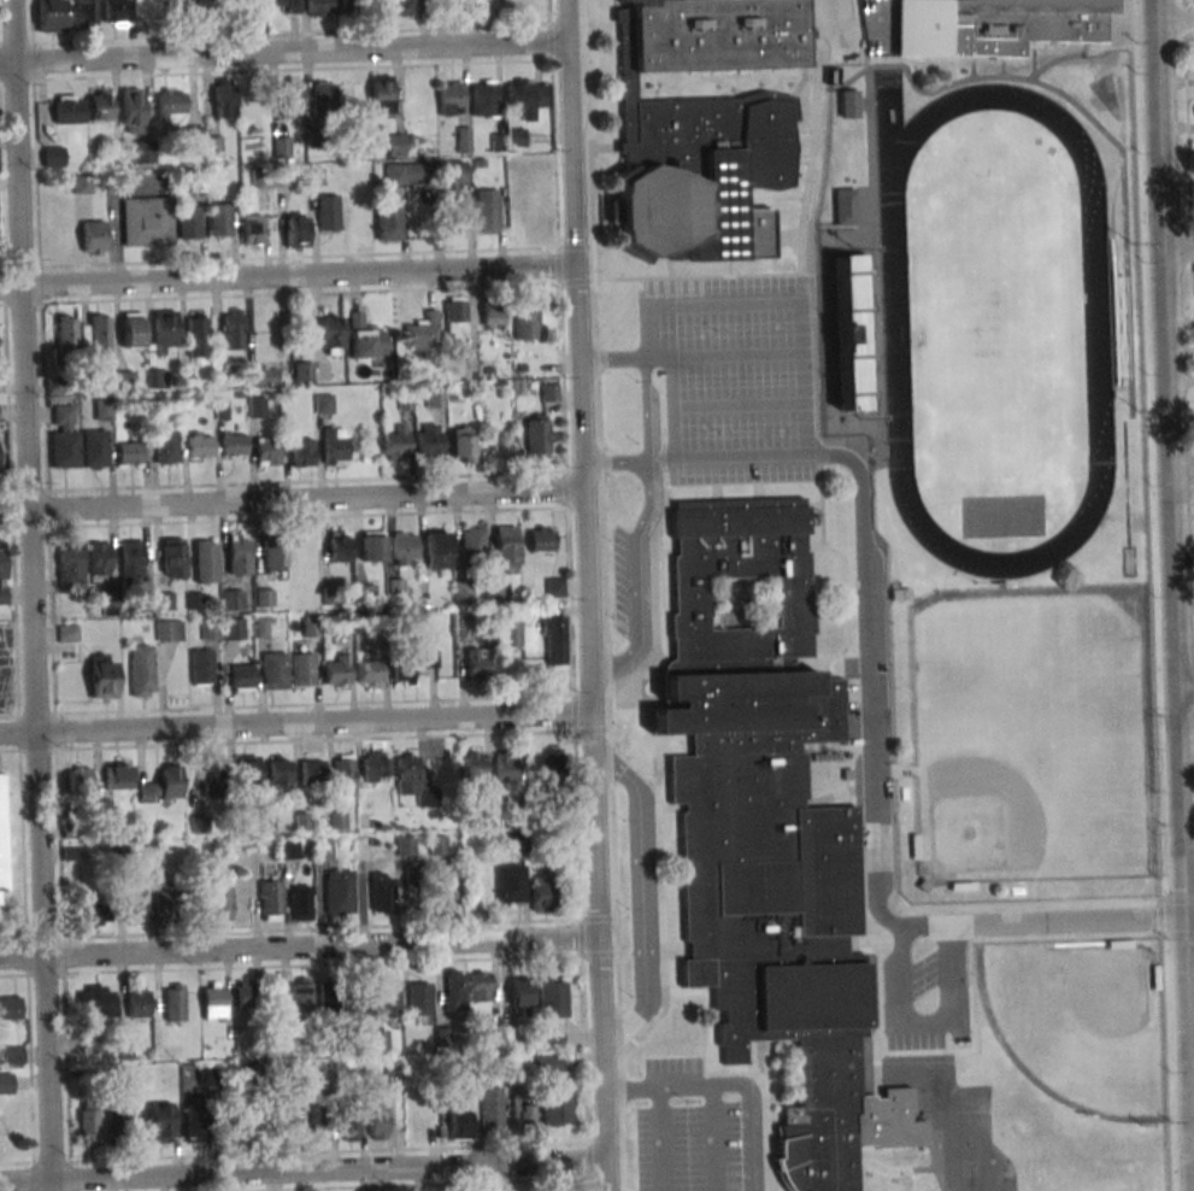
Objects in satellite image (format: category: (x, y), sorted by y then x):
building: (622, 0)
building: (220, 2)
building: (192, 5)
building: (249, 6)
building: (283, 6)
building: (318, 7)
building: (352, 7)
building: (405, 7)
building: (488, 7)
building: (82, 12)
building: (116, 12)
building: (51, 16)
road: (1175, 20)
road: (833, 23)
road: (872, 24)
parking lot: (876, 25)
building: (995, 25)
road: (853, 30)
road: (283, 51)
road: (1076, 54)
road: (1033, 63)
road: (1001, 68)
road: (971, 69)
road: (772, 74)
road: (746, 78)
road: (977, 78)
road: (680, 88)
road: (724, 88)
building: (381, 94)
building: (452, 94)
building: (323, 95)
building: (525, 95)
park: (1106, 95)
building: (292, 96)
building: (484, 98)
building: (224, 99)
building: (849, 102)
building: (99, 104)
building: (171, 104)
building: (69, 108)
building: (131, 110)
building: (702, 128)
road: (804, 130)
building: (196, 135)
building: (514, 136)
building: (395, 145)
building: (281, 147)
building: (141, 151)
building: (113, 153)
building: (53, 157)
road: (802, 162)
building: (406, 174)
building: (452, 176)
building: (196, 183)
road: (770, 198)
road: (1113, 198)
road: (749, 203)
building: (843, 206)
building: (486, 211)
building: (328, 212)
building: (218, 219)
building: (147, 221)
building: (188, 222)
building: (388, 222)
building: (252, 229)
building: (361, 229)
building: (296, 230)
building: (93, 236)
road: (823, 236)
road: (802, 240)
road: (1180, 242)
road: (874, 248)
road: (617, 256)
road: (676, 269)
road: (729, 269)
road: (288, 274)
road: (1127, 281)
road: (772, 303)
track: (1095, 313)
building: (455, 317)
building: (494, 317)
building: (527, 322)
building: (1118, 327)
building: (164, 328)
building: (230, 328)
building: (133, 329)
park: (996, 330)
building: (422, 332)
building: (853, 332)
building: (330, 333)
building: (99, 334)
building: (198, 334)
building: (65, 335)
building: (365, 340)
road: (724, 354)
road: (612, 358)
building: (302, 371)
building: (261, 376)
parking lot: (736, 376)
building: (123, 379)
building: (157, 379)
building: (549, 392)
building: (434, 398)
road: (740, 405)
building: (257, 406)
road: (672, 407)
building: (61, 413)
building: (537, 435)
building: (429, 440)
building: (396, 444)
building: (463, 444)
building: (200, 445)
building: (233, 445)
building: (166, 446)
building: (334, 446)
building: (78, 448)
building: (266, 450)
building: (302, 451)
building: (129, 453)
road: (1145, 459)
road: (1183, 468)
track: (1125, 482)
road: (292, 499)
road: (812, 503)
road: (822, 509)
road: (664, 512)
road: (639, 528)
building: (541, 539)
building: (471, 544)
building: (339, 546)
building: (371, 546)
building: (506, 546)
building: (404, 548)
building: (437, 548)
road: (661, 552)
building: (237, 555)
building: (273, 556)
building: (100, 558)
building: (172, 558)
building: (205, 561)
building: (131, 562)
building: (71, 564)
road: (1176, 568)
building: (2, 576)
parking lot: (620, 581)
building: (554, 587)
building: (496, 589)
building: (463, 592)
road: (31, 594)
road: (588, 594)
road: (604, 594)
building: (264, 597)
building: (231, 599)
road: (845, 617)
building: (311, 626)
building: (264, 627)
building: (464, 627)
building: (222, 629)
building: (169, 630)
building: (507, 634)
building: (553, 640)
building: (411, 664)
building: (477, 664)
building: (201, 667)
building: (302, 669)
building: (142, 670)
building: (273, 670)
building: (336, 670)
building: (370, 673)
road: (631, 675)
building: (102, 676)
building: (241, 677)
road: (866, 682)
road: (1187, 691)
parking lot: (851, 699)
road: (295, 722)
park: (1034, 733)
park: (1034, 734)
building: (547, 764)
building: (375, 767)
building: (474, 769)
building: (506, 770)
building: (247, 773)
building: (311, 773)
building: (280, 774)
building: (117, 776)
building: (213, 778)
building: (343, 779)
building: (413, 781)
building: (80, 782)
building: (161, 787)
road: (839, 793)
building: (75, 831)
building: (769, 838)
building: (2, 840)
road: (659, 840)
building: (405, 845)
building: (437, 845)
building: (288, 849)
building: (322, 849)
building: (411, 876)
building: (510, 882)
building: (448, 884)
building: (339, 891)
building: (541, 892)
building: (381, 893)
building: (163, 896)
road: (643, 896)
building: (569, 898)
building: (217, 900)
building: (270, 900)
building: (299, 902)
road: (1007, 902)
building: (135, 904)
building: (99, 907)
road: (1047, 921)
road: (1037, 939)
road: (299, 946)
parking lot: (924, 974)
building: (478, 986)
building: (454, 990)
building: (519, 992)
building: (246, 995)
building: (300, 996)
building: (388, 998)
building: (552, 998)
building: (329, 999)
building: (418, 999)
building: (95, 1001)
building: (137, 1004)
building: (172, 1004)
building: (213, 1004)
building: (10, 1008)
park: (1081, 1021)
building: (490, 1035)
road: (946, 1035)
building: (375, 1040)
parking lot: (914, 1040)
road: (927, 1050)
road: (710, 1051)
road: (1165, 1055)
building: (11, 1056)
road: (751, 1058)
building: (552, 1062)
road: (877, 1072)
building: (5, 1083)
road: (727, 1085)
building: (555, 1105)
building: (490, 1107)
building: (520, 1110)
building: (319, 1115)
building: (414, 1115)
road: (913, 1116)
building: (88, 1117)
building: (284, 1117)
building: (377, 1119)
building: (116, 1122)
building: (159, 1122)
building: (195, 1122)
building: (458, 1122)
building: (349, 1127)
parking lot: (686, 1132)
road: (713, 1138)
road: (661, 1139)
road: (302, 1169)
road: (906, 1171)

